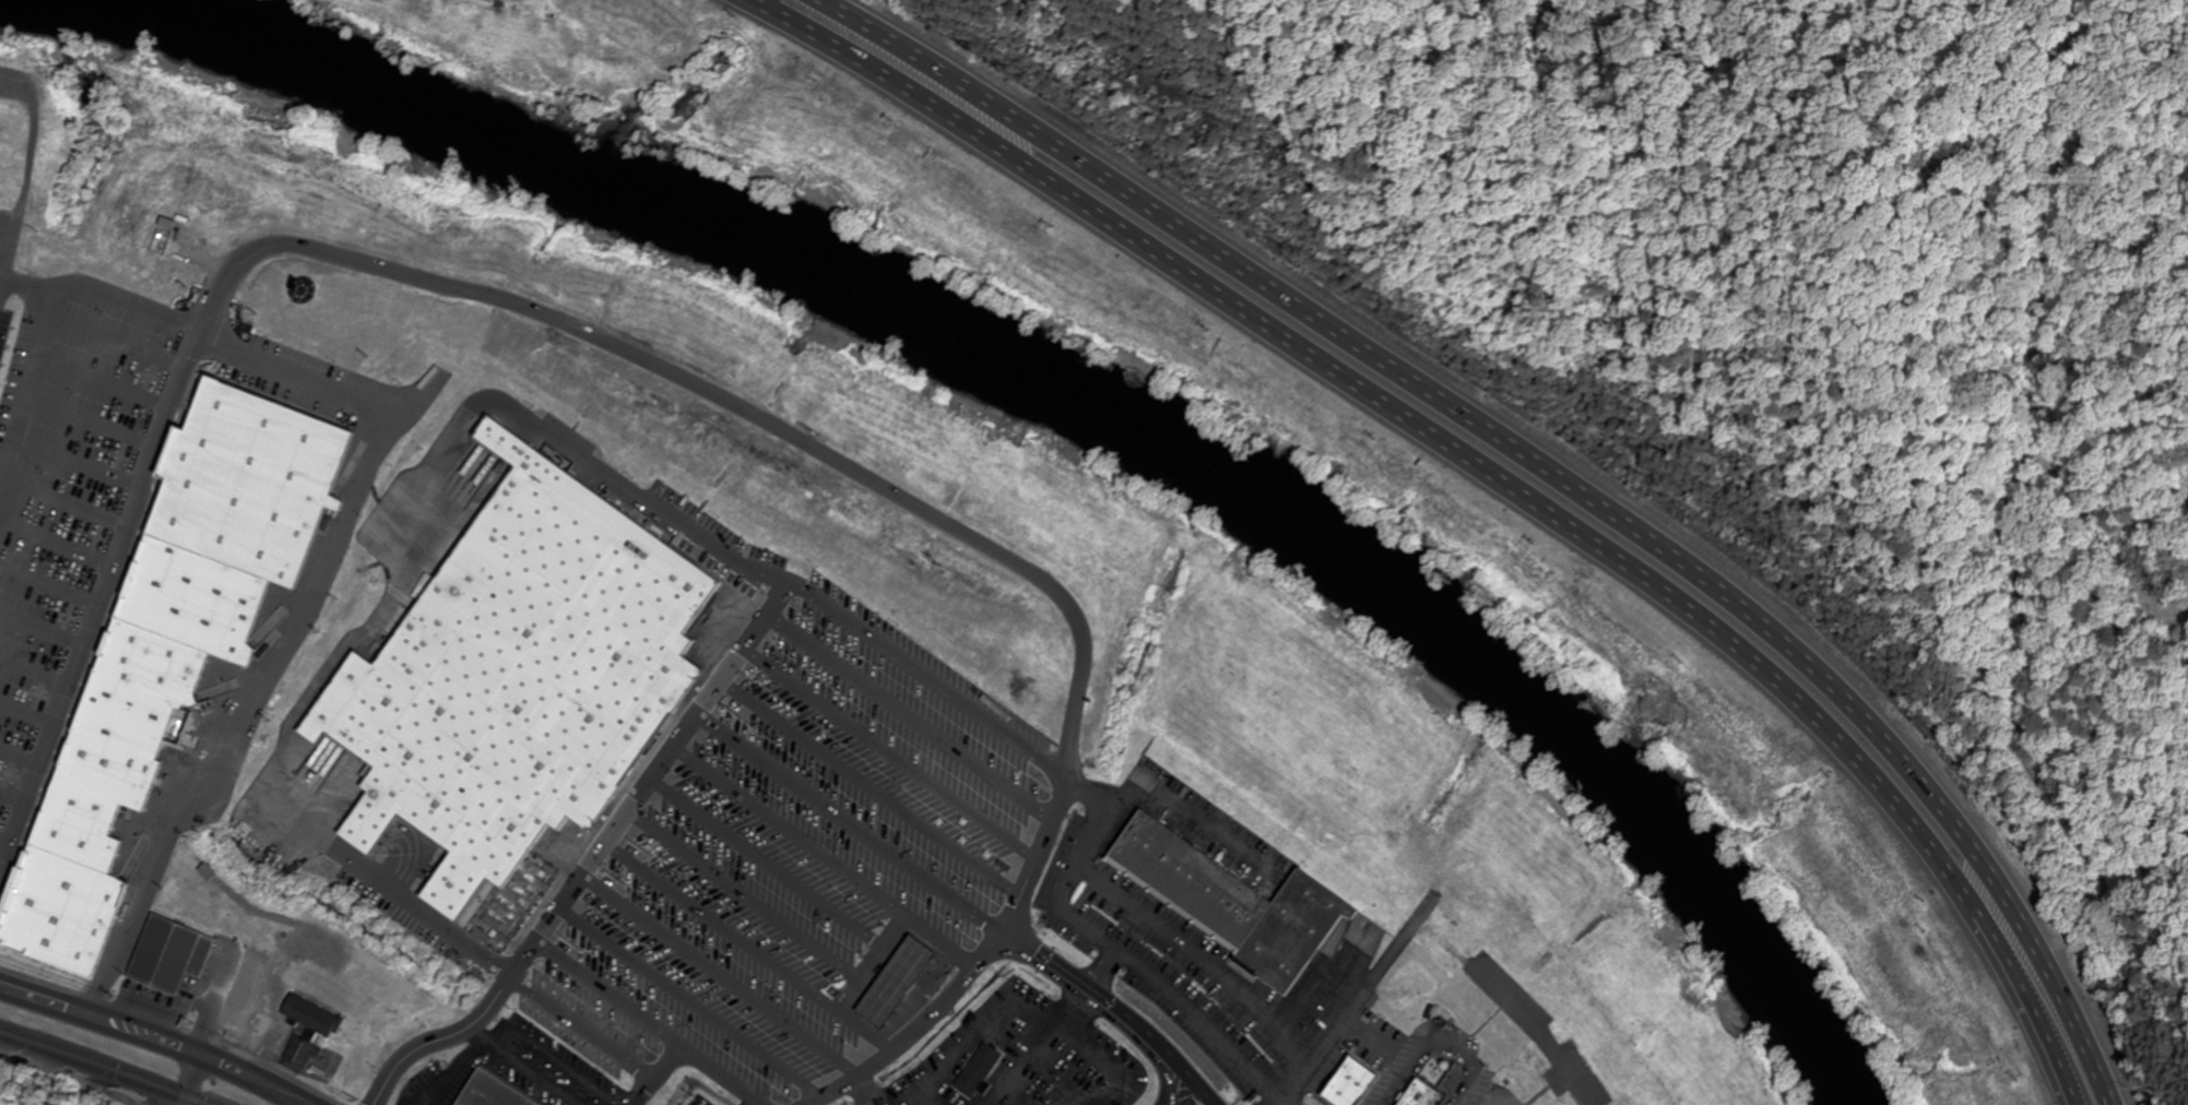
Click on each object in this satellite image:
park: (28, 144)
road: (29, 165)
road: (24, 284)
road: (451, 284)
road: (43, 306)
road: (114, 341)
road: (102, 379)
river: (1089, 405)
road: (90, 419)
road: (78, 459)
road: (599, 466)
road: (1545, 471)
road: (1487, 473)
road: (63, 502)
road: (56, 547)
road: (49, 586)
road: (382, 619)
road: (43, 627)
road: (295, 628)
road: (34, 674)
building: (529, 678)
road: (930, 681)
road: (27, 713)
road: (914, 717)
road: (896, 752)
road: (20, 757)
road: (652, 780)
road: (876, 786)
building: (49, 789)
road: (13, 798)
road: (292, 801)
road: (1199, 819)
road: (851, 824)
road: (792, 833)
road: (5, 842)
parking lot: (811, 858)
road: (770, 864)
road: (746, 898)
building: (1238, 903)
road: (423, 912)
road: (724, 927)
road: (1119, 947)
building: (172, 955)
road: (879, 958)
road: (1201, 959)
road: (1105, 970)
road: (973, 971)
road: (723, 975)
road: (1074, 981)
building: (902, 990)
gas station: (902, 990)
road: (614, 995)
road: (1364, 996)
road: (694, 1001)
building: (320, 1005)
road: (555, 1008)
road: (1536, 1029)
road: (154, 1038)
road: (1444, 1042)
building: (303, 1057)
railway: (99, 1059)
road: (1181, 1065)
road: (1161, 1066)
building: (983, 1077)
road: (194, 1079)
building: (1359, 1089)
building: (495, 1094)
road: (1188, 1094)
building: (1429, 1095)
road: (755, 1104)

